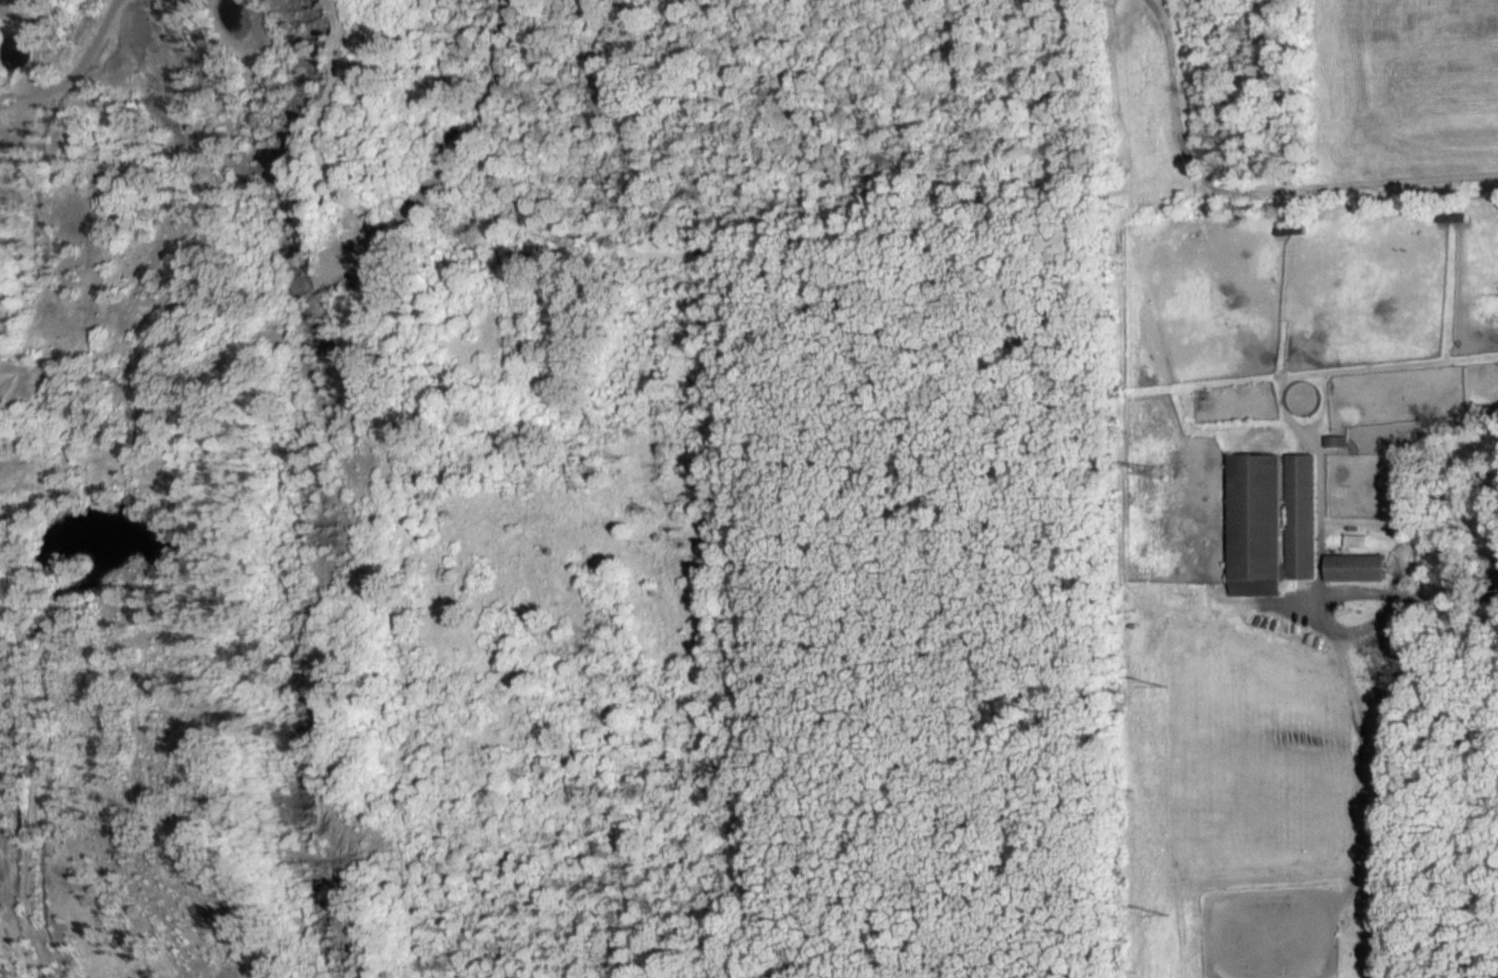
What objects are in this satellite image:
road: (1177, 93)
road: (1353, 182)
building: (1454, 219)
building: (1294, 232)
road: (658, 258)
building: (1339, 443)
power tower: (1160, 468)
building: (1273, 524)
building: (1359, 543)
road: (1402, 560)
building: (1359, 569)
road: (1162, 603)
road: (1294, 608)
road: (1461, 617)
road: (1344, 662)
road: (37, 758)
park: (1275, 933)

